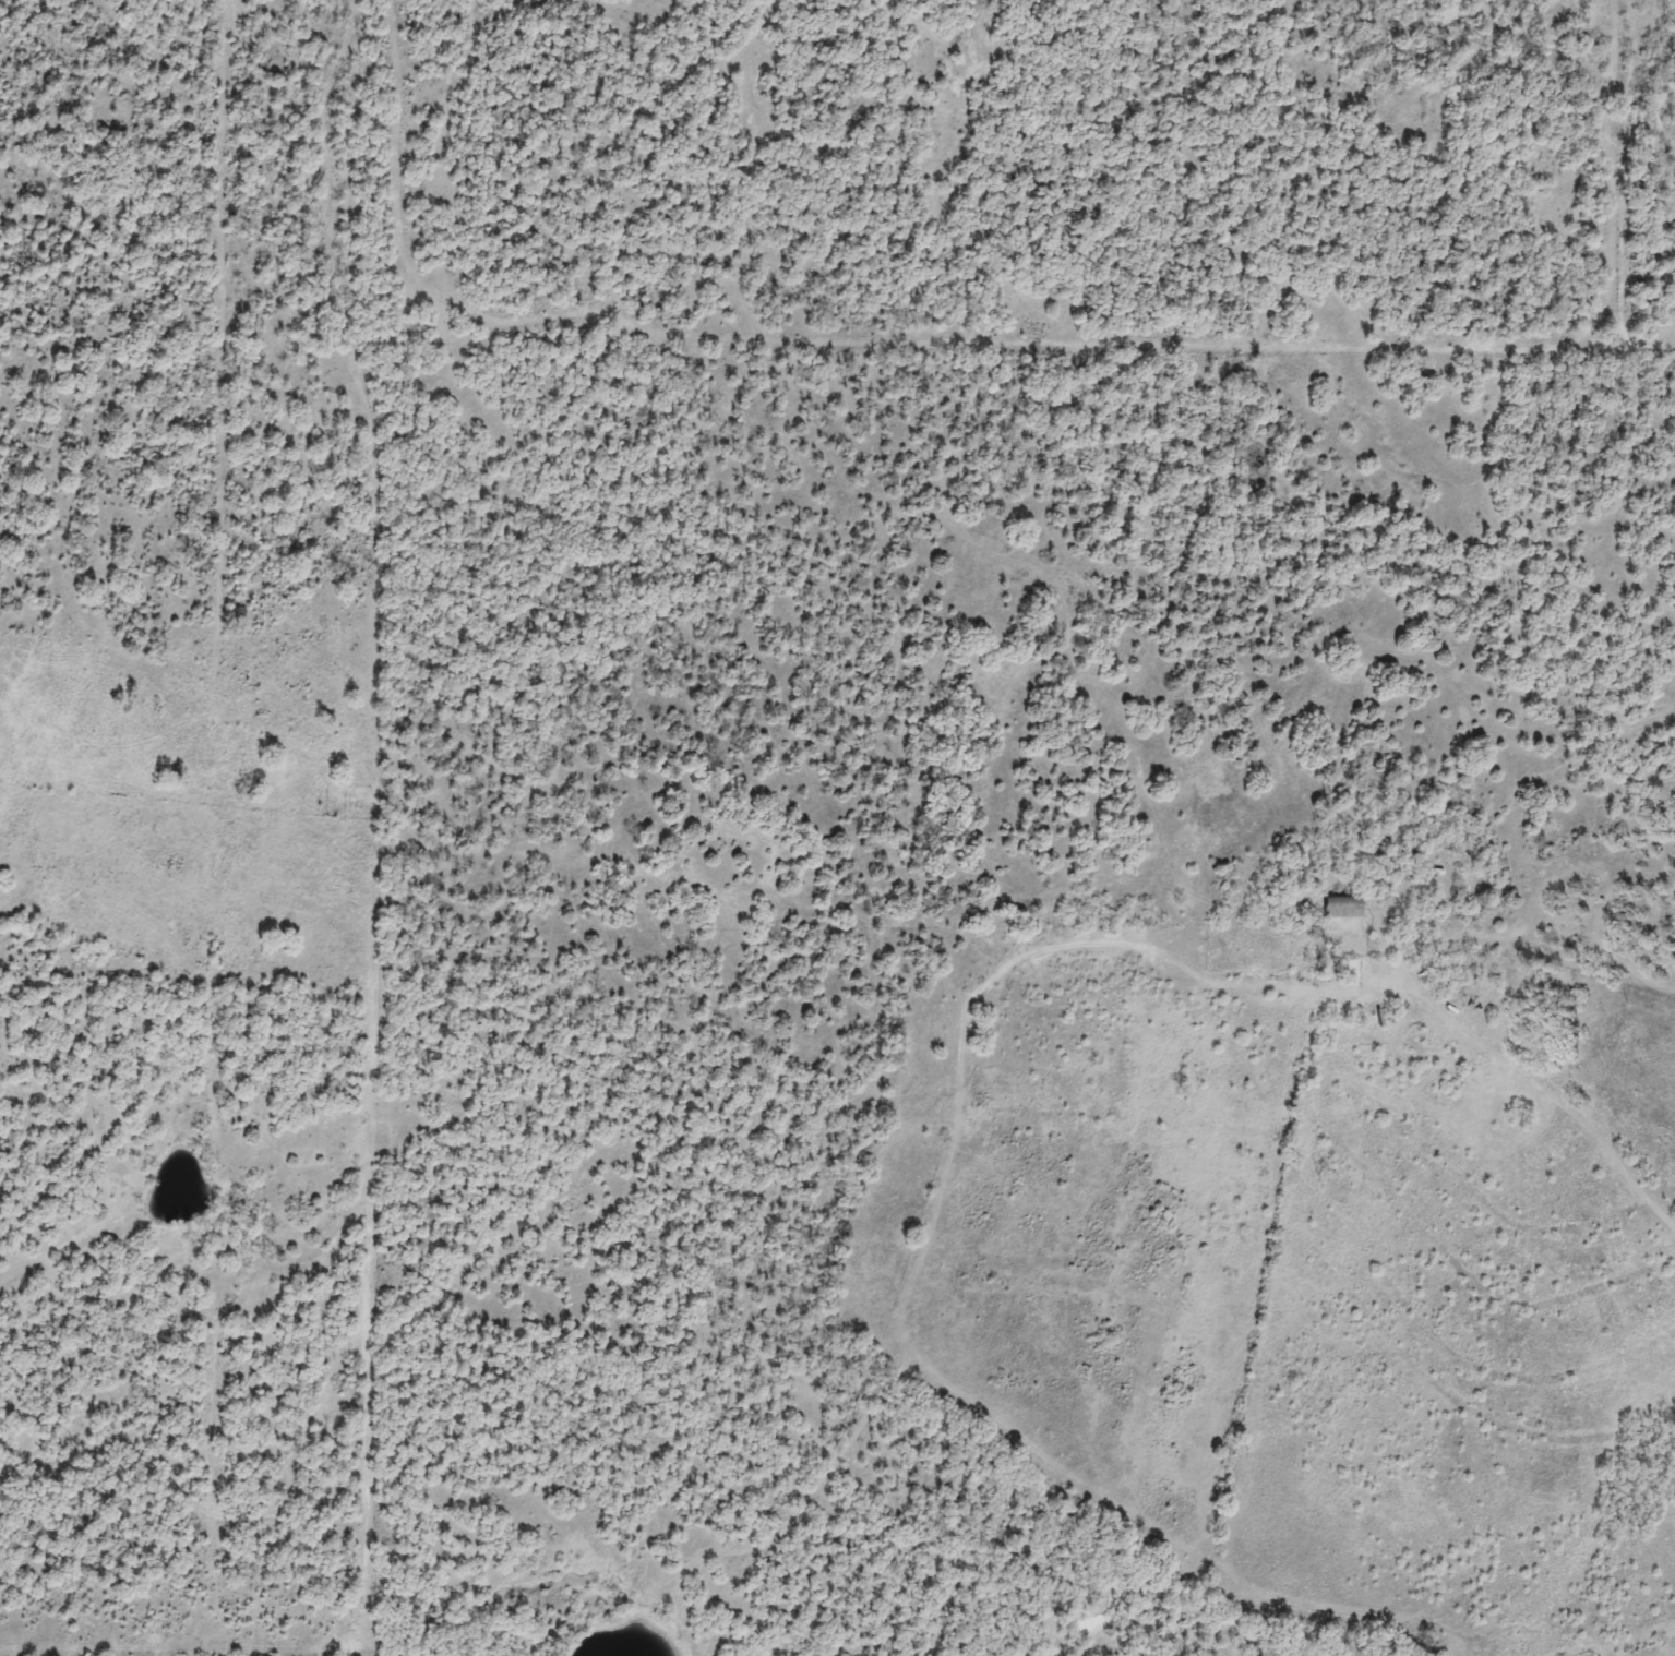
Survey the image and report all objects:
building: (1338, 907)

